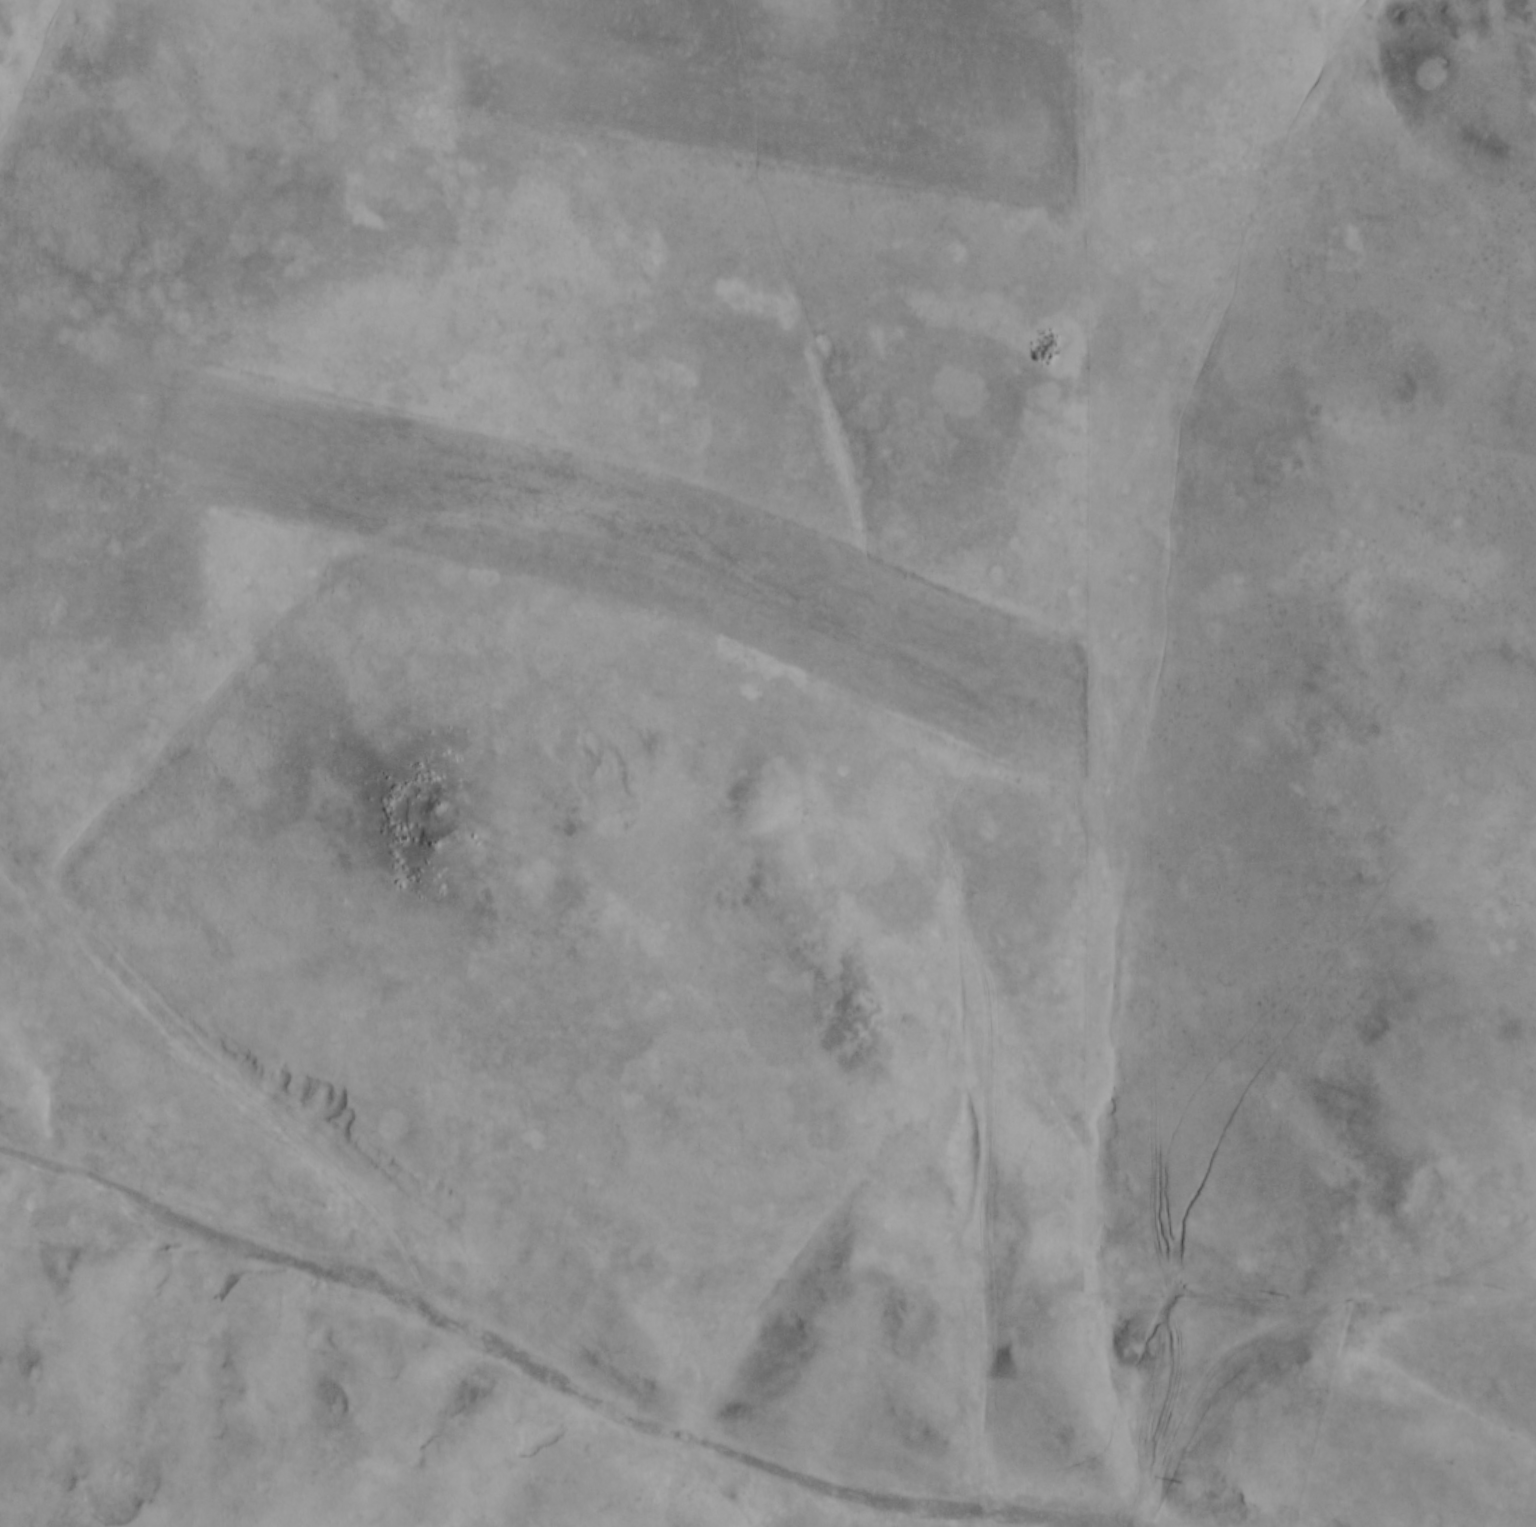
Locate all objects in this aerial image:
road: (1300, 432)

